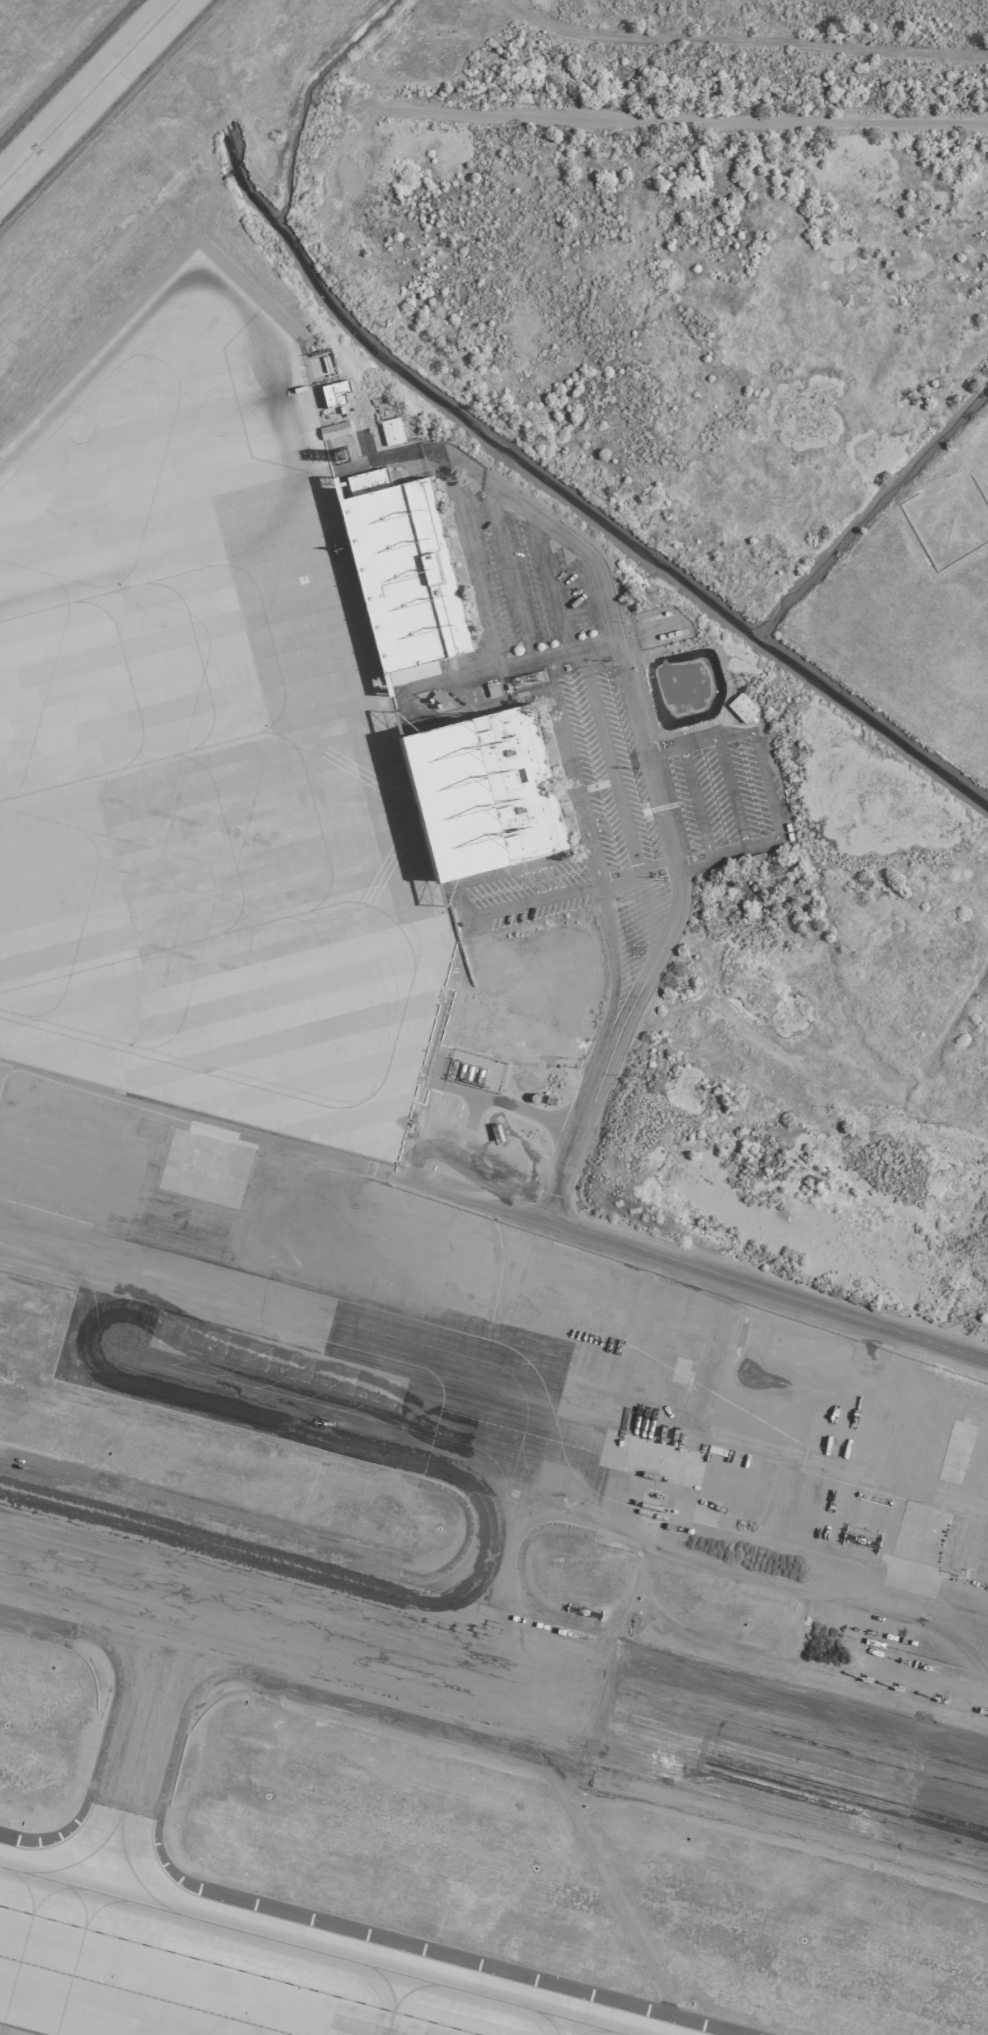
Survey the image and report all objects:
park: (751, 31)
airport taxiway: (90, 95)
road: (850, 121)
building: (334, 393)
building: (390, 431)
airport hangar: (403, 570)
building: (403, 570)
road: (484, 622)
building: (491, 690)
road: (592, 694)
building: (740, 707)
airport apron: (205, 750)
road: (647, 761)
road: (567, 765)
road: (768, 783)
road: (730, 791)
airport hangar: (484, 794)
building: (484, 794)
road: (694, 800)
road: (492, 912)
airport: (494, 1017)
airport taxiway: (43, 1246)
road: (701, 1270)
airport apron: (316, 1367)
road: (791, 1453)
airport taxiway: (484, 1585)
airport runway: (493, 1675)
airport taxiway: (143, 1743)
helipad: (135, 1790)
airport taxiway: (307, 1951)
airport apron: (167, 1990)

